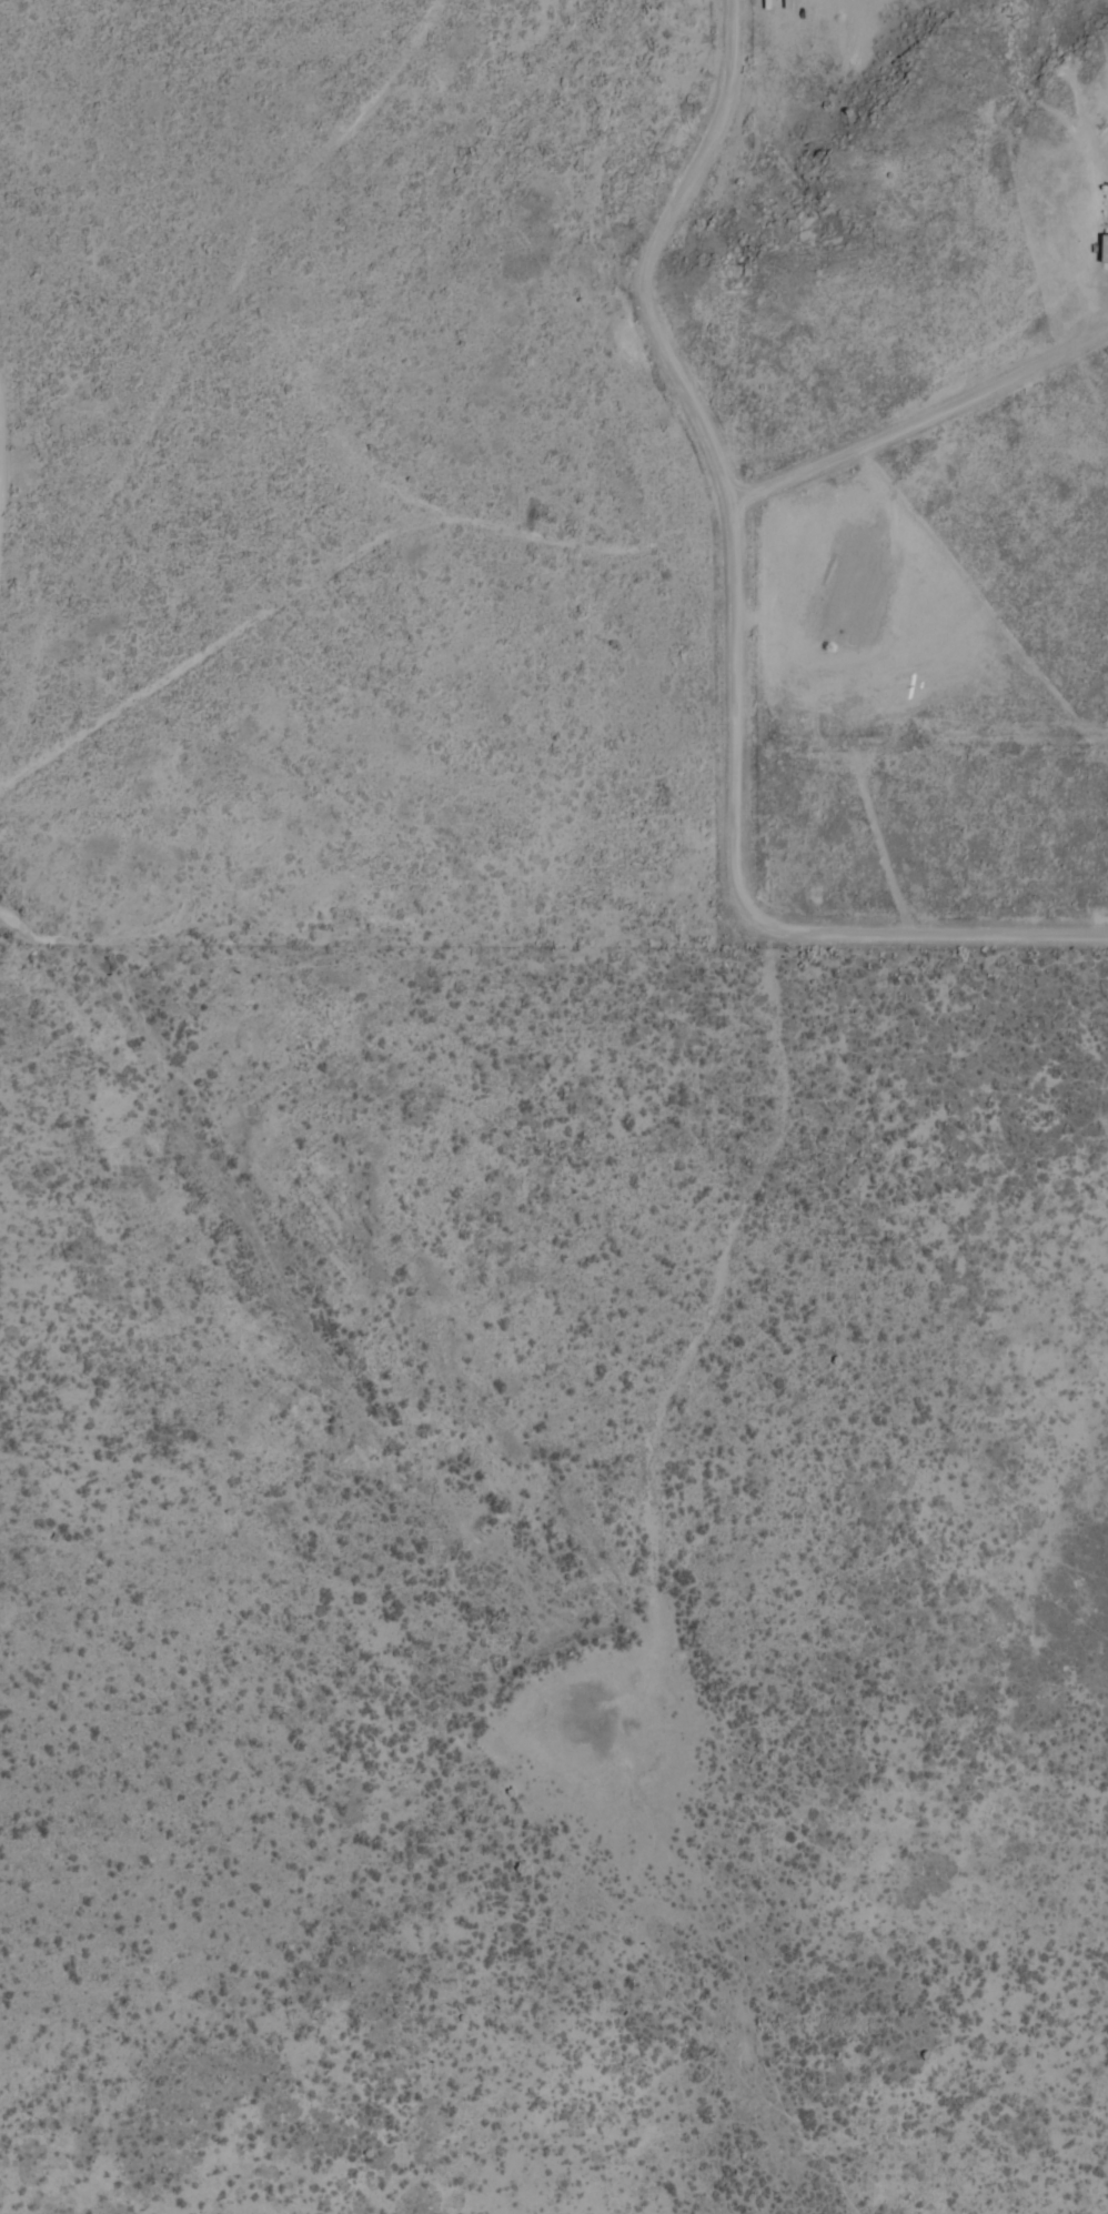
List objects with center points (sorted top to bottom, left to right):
road: (655, 258)
road: (190, 364)
road: (923, 424)
road: (743, 896)

